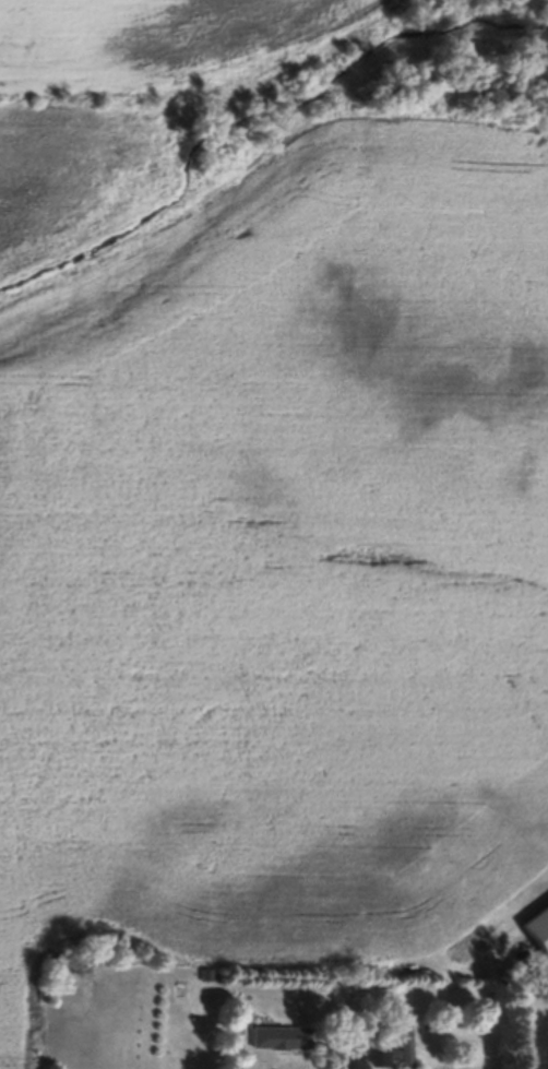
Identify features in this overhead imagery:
building: (536, 929)
building: (274, 1036)
building: (385, 1047)

